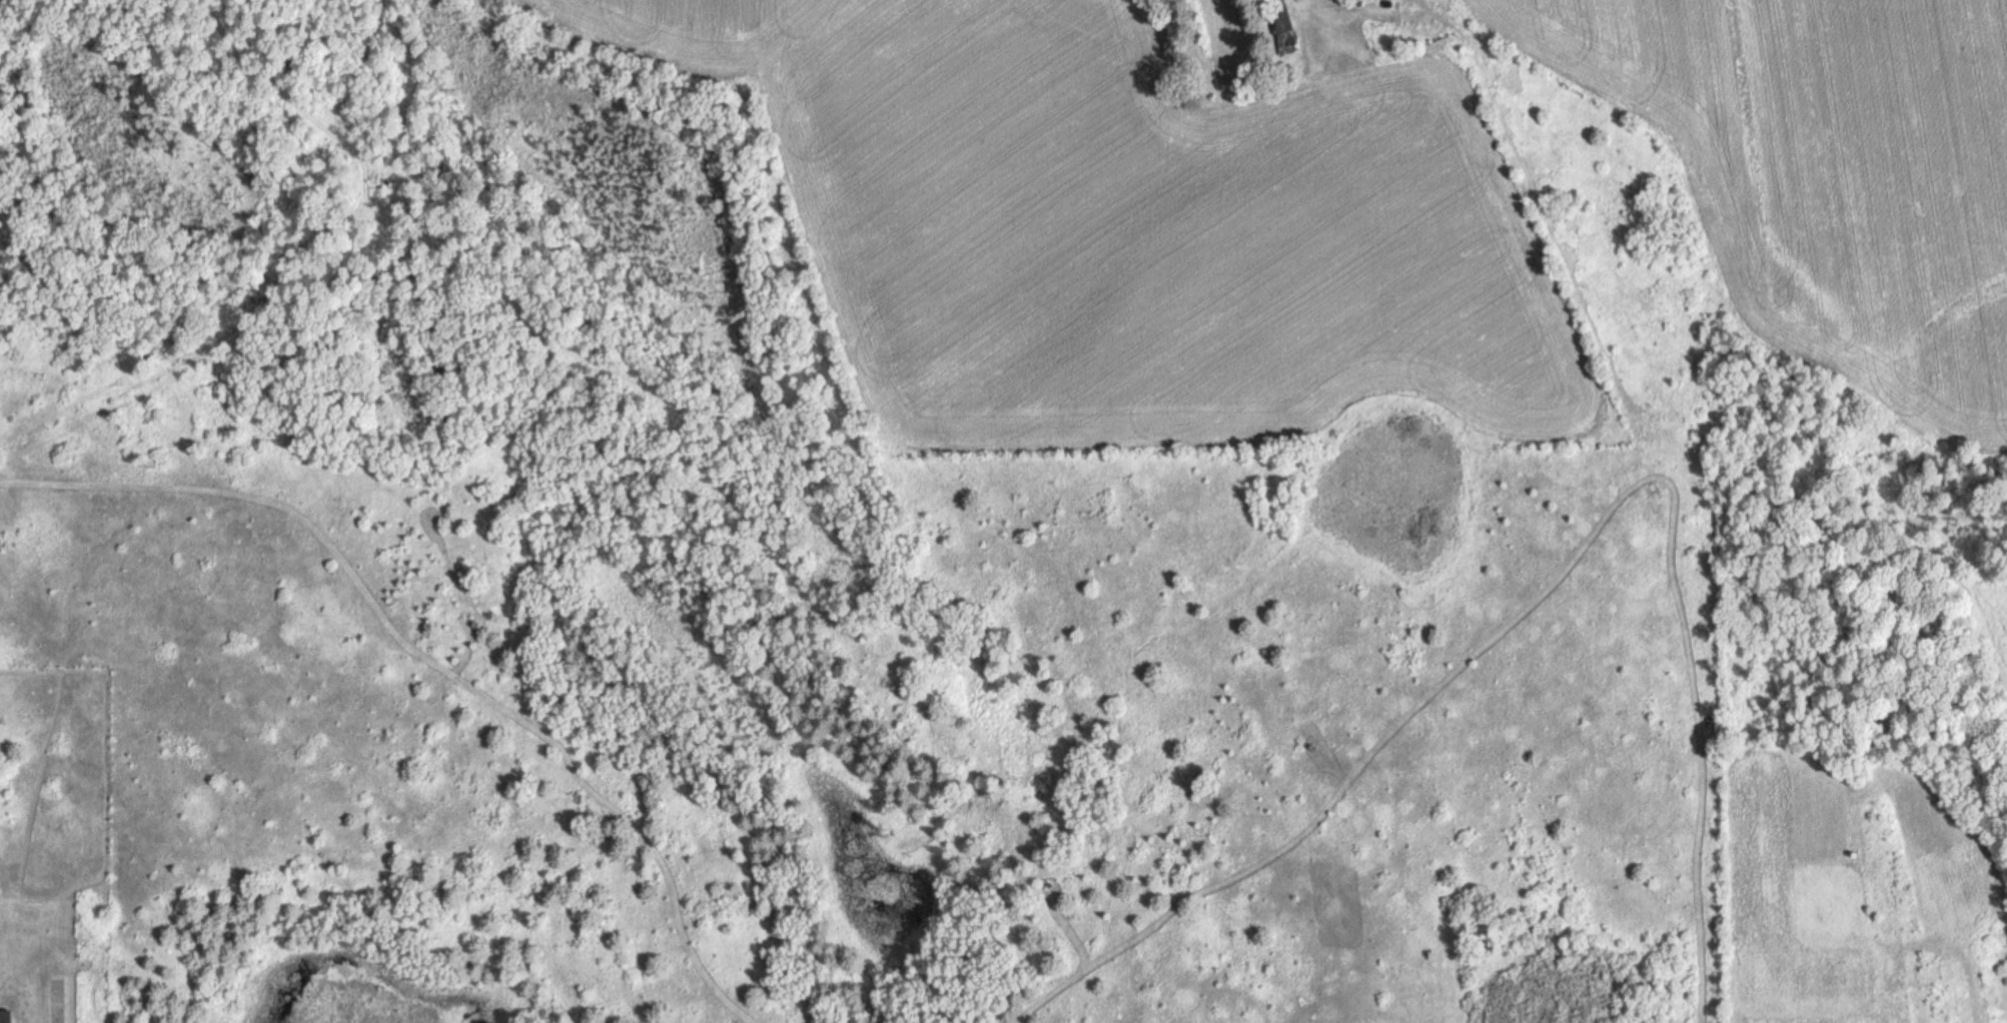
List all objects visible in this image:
building: (8, 1016)

